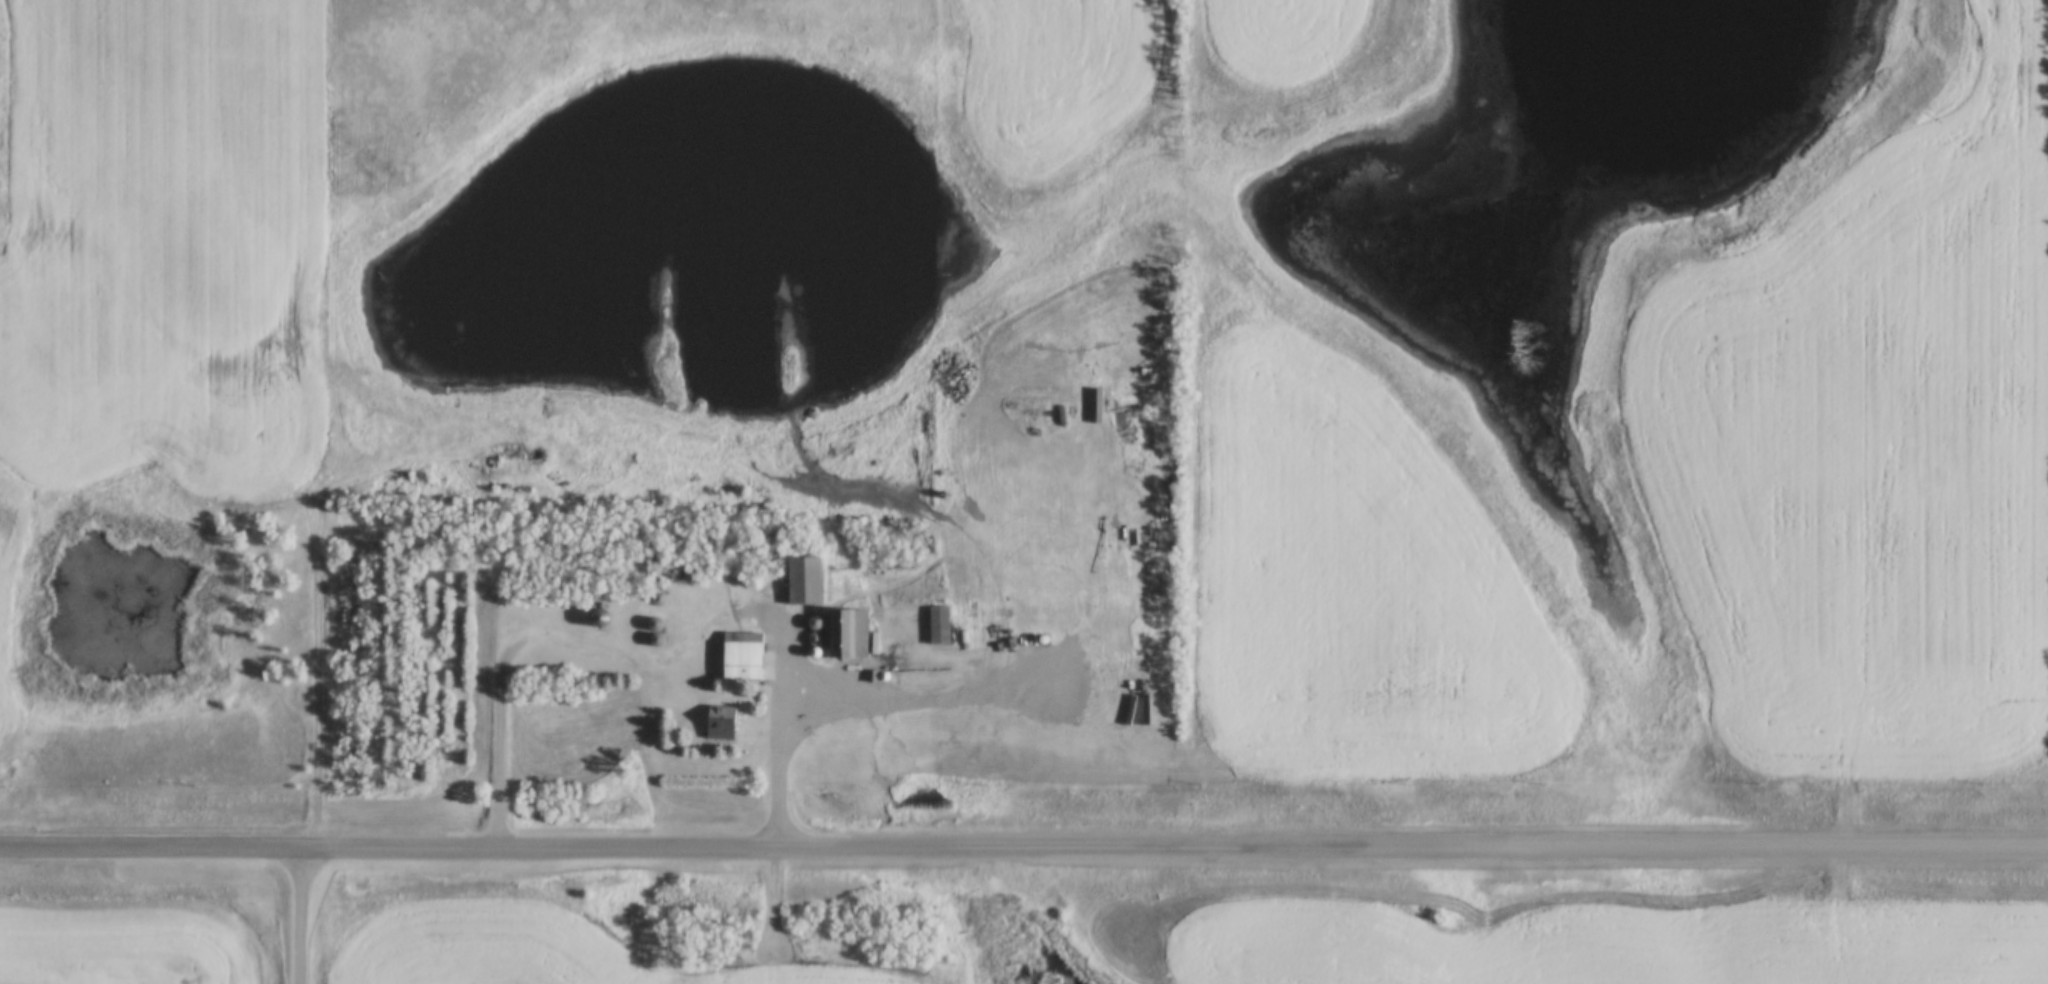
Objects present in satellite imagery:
building: (808, 582)
building: (941, 607)
building: (746, 657)
road: (780, 771)
road: (1024, 849)
road: (302, 915)

